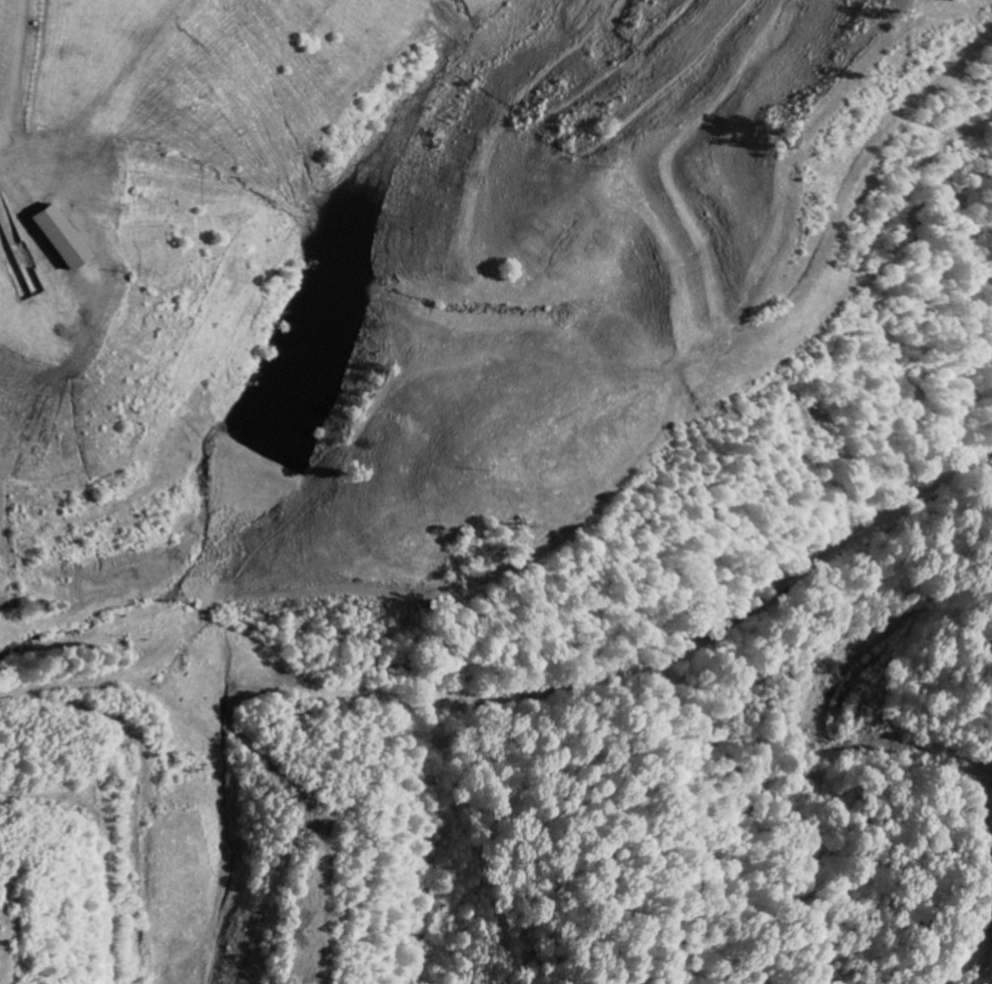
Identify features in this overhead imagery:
building: (56, 238)

